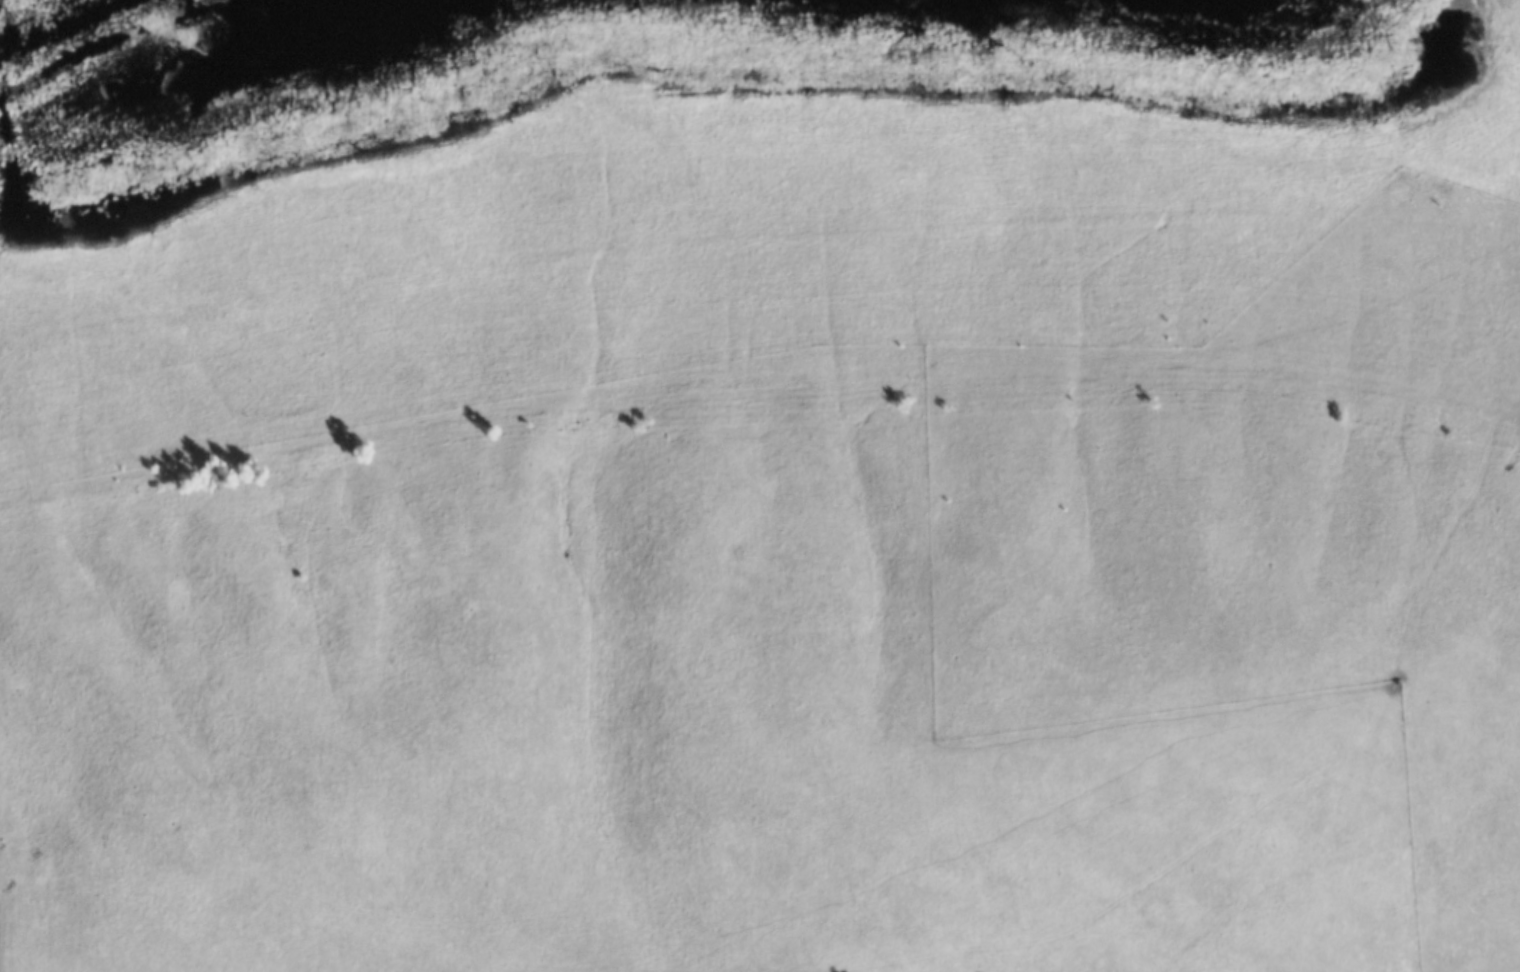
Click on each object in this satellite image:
building: (4, 907)

